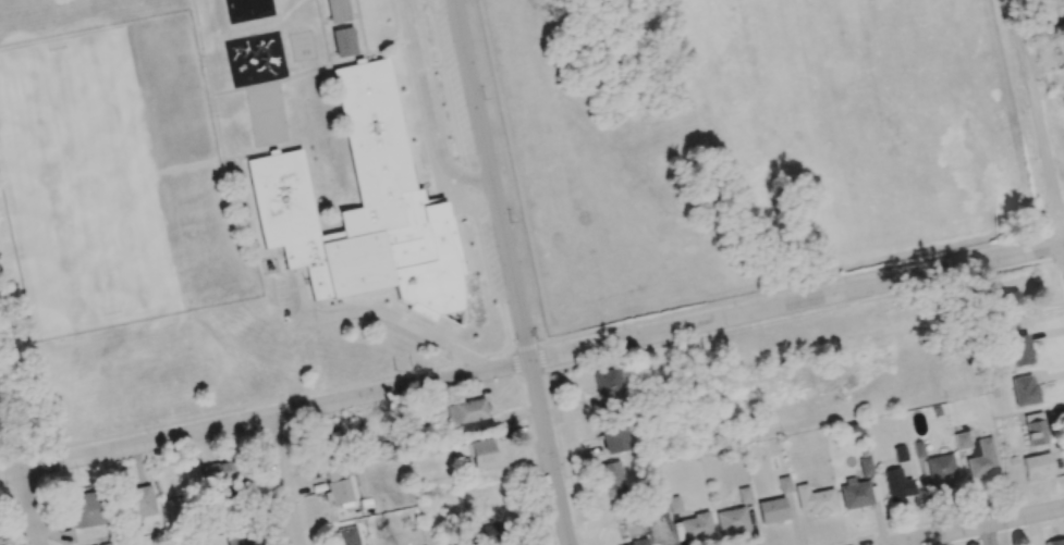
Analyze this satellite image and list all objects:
building: (337, 11)
building: (343, 41)
road: (430, 109)
road: (1036, 110)
street lamp: (1024, 113)
building: (363, 209)
road: (1063, 226)
street lamp: (1054, 265)
road: (511, 272)
building: (1010, 305)
road: (399, 324)
building: (1019, 349)
road: (531, 360)
building: (607, 386)
building: (1024, 391)
building: (468, 414)
building: (1035, 429)
building: (613, 438)
building: (961, 441)
building: (918, 449)
building: (484, 454)
building: (900, 454)
building: (982, 461)
building: (866, 466)
building: (1037, 466)
building: (223, 471)
building: (940, 471)
building: (613, 480)
road: (283, 481)
building: (784, 484)
building: (897, 484)
building: (338, 487)
building: (855, 494)
building: (744, 495)
building: (815, 499)
building: (139, 503)
building: (674, 504)
building: (229, 506)
road: (32, 507)
building: (86, 510)
building: (772, 510)
building: (732, 521)
road: (978, 527)
building: (696, 528)
building: (490, 534)
building: (347, 535)
building: (236, 537)
building: (1055, 542)
building: (637, 543)

